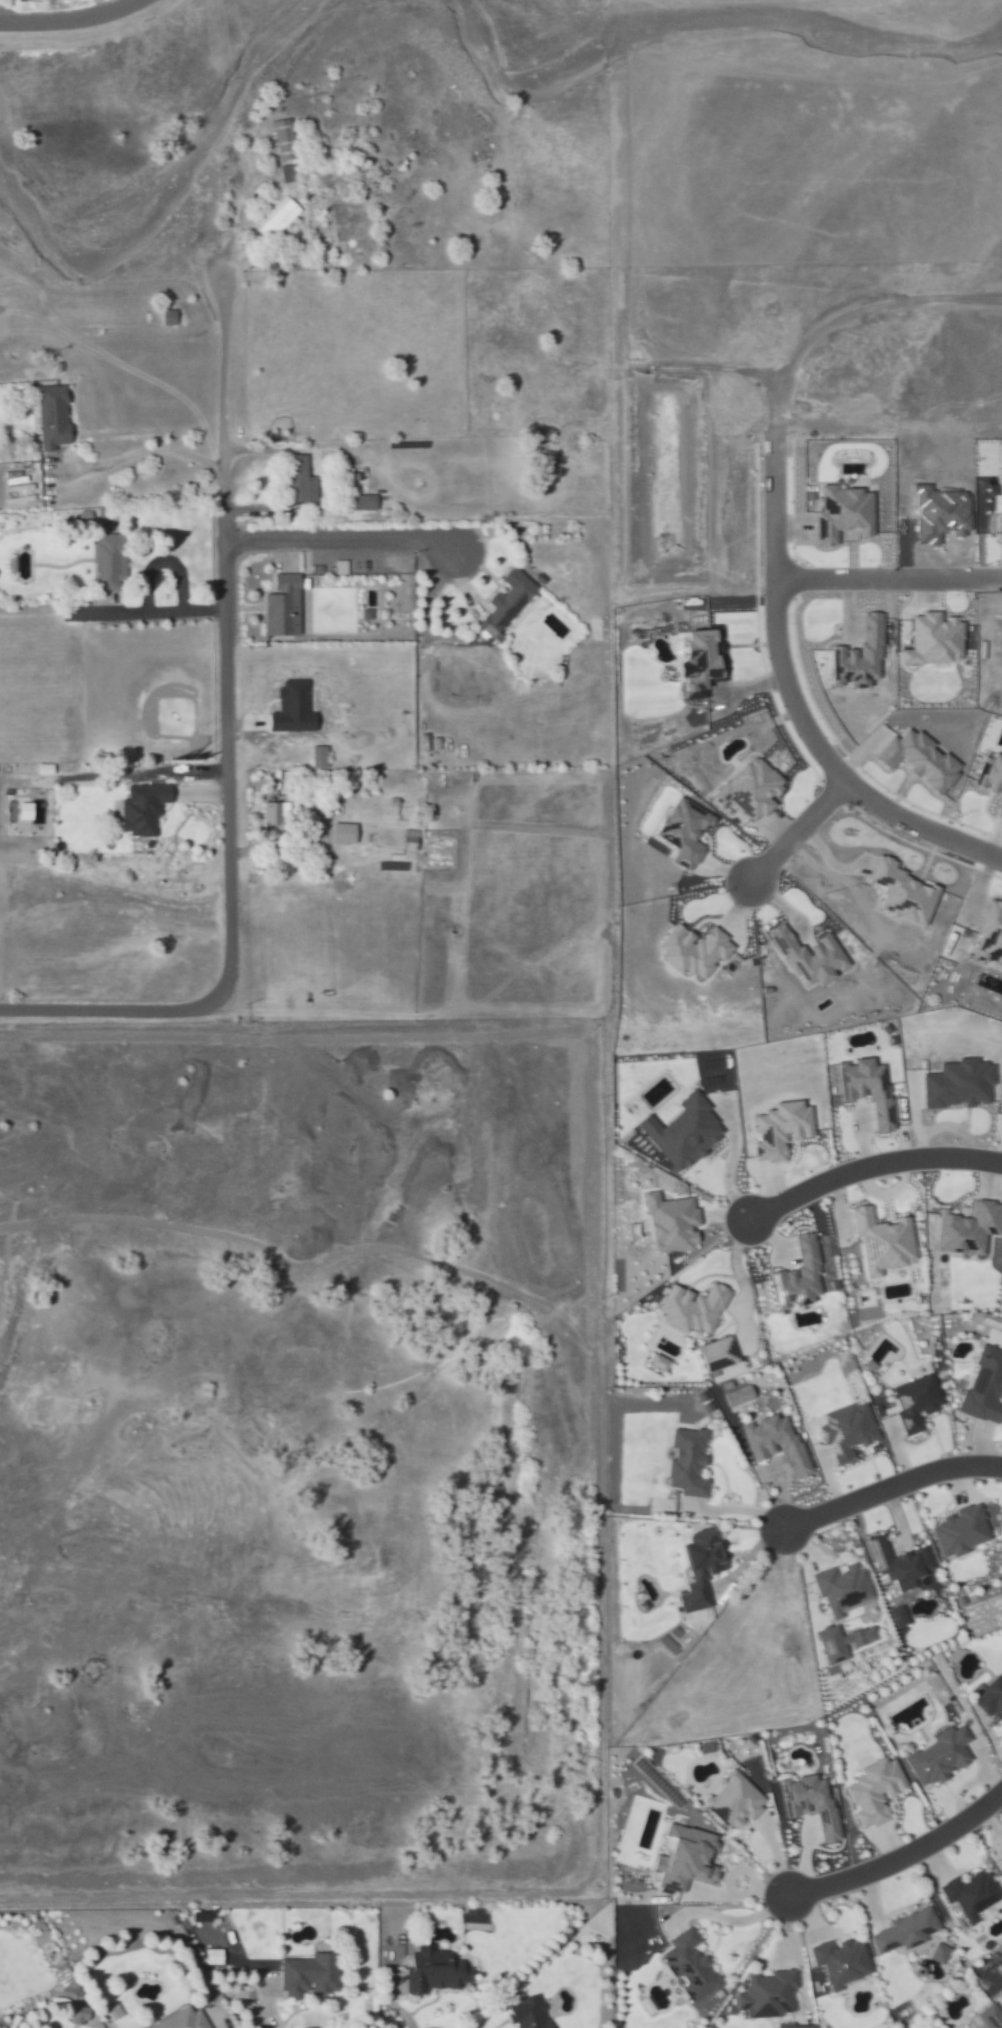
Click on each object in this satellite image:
road: (72, 17)
building: (285, 139)
building: (289, 173)
building: (279, 219)
building: (55, 416)
road: (143, 453)
building: (302, 481)
building: (366, 502)
road: (342, 539)
building: (111, 561)
building: (342, 567)
building: (510, 602)
building: (285, 606)
building: (451, 639)
building: (936, 639)
building: (704, 656)
road: (777, 667)
road: (226, 741)
building: (321, 756)
building: (991, 774)
building: (753, 788)
building: (145, 808)
building: (1000, 812)
building: (277, 815)
road: (794, 831)
building: (687, 832)
building: (345, 833)
building: (991, 936)
building: (696, 950)
building: (812, 957)
building: (870, 1088)
building: (783, 1130)
building: (686, 1132)
road: (870, 1165)
building: (674, 1223)
building: (970, 1229)
building: (886, 1242)
building: (801, 1278)
building: (696, 1308)
building: (720, 1354)
building: (662, 1360)
building: (986, 1387)
building: (742, 1397)
building: (705, 1402)
building: (918, 1403)
building: (849, 1431)
building: (778, 1443)
building: (691, 1463)
road: (891, 1486)
building: (966, 1529)
building: (902, 1563)
building: (704, 1568)
building: (844, 1588)
building: (901, 1616)
building: (834, 1645)
building: (953, 1655)
building: (990, 1698)
building: (937, 1755)
building: (871, 1791)
building: (734, 1801)
building: (808, 1802)
building: (684, 1857)
road: (901, 1858)
building: (1000, 1863)
building: (969, 1893)
road: (728, 1920)
building: (903, 1931)
building: (937, 1952)
building: (213, 1957)
building: (838, 1961)
building: (688, 1965)
building: (432, 1970)
building: (305, 1975)
building: (766, 1993)
building: (526, 2013)
building: (74, 2015)
building: (988, 2017)
building: (179, 2019)

